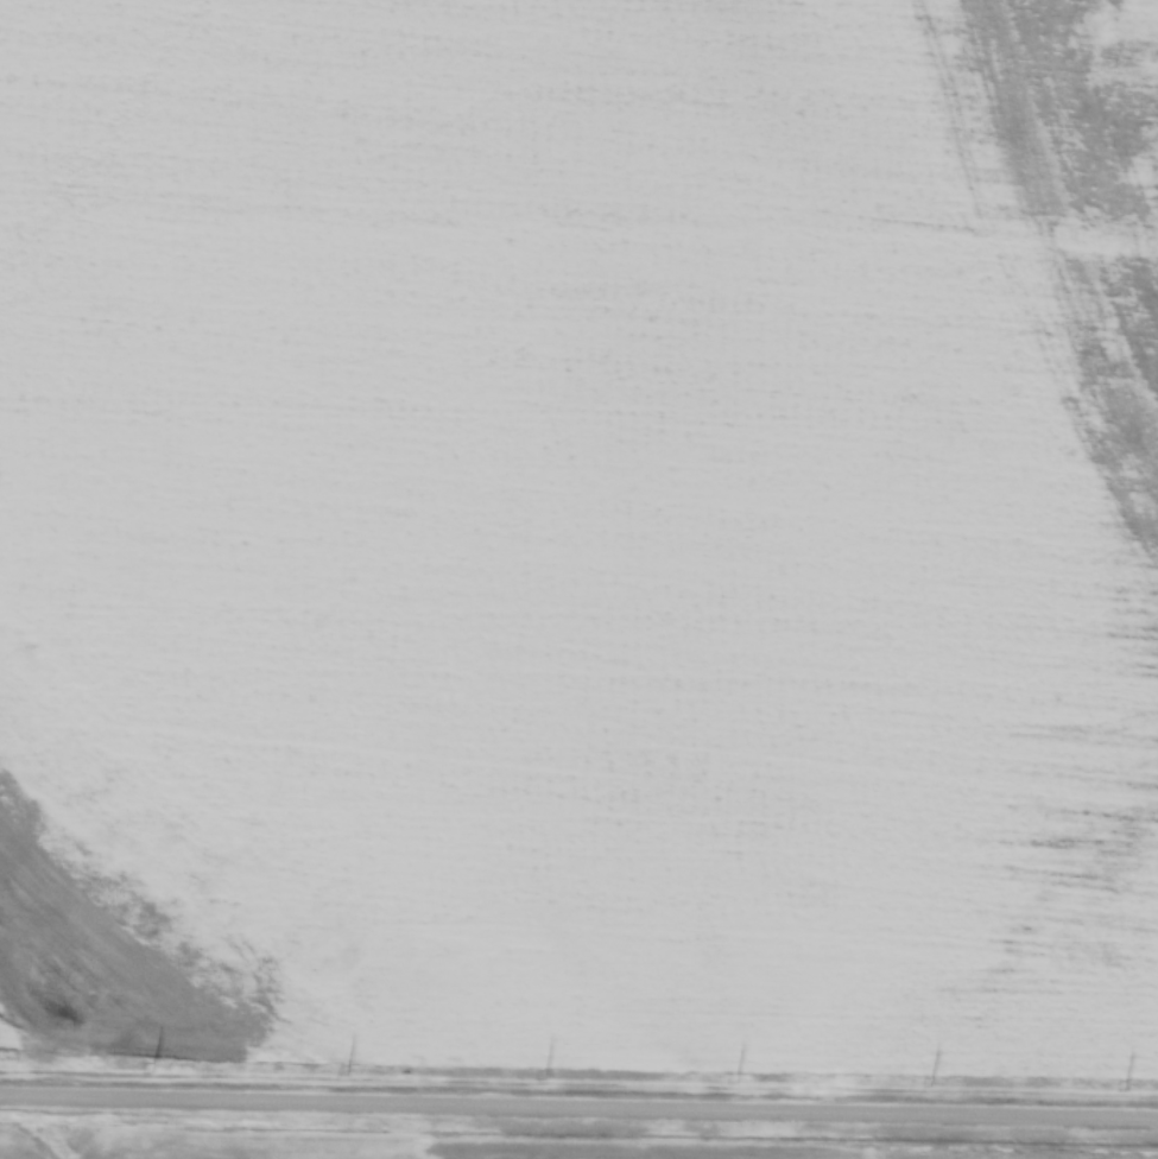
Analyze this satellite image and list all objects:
road: (578, 1110)

